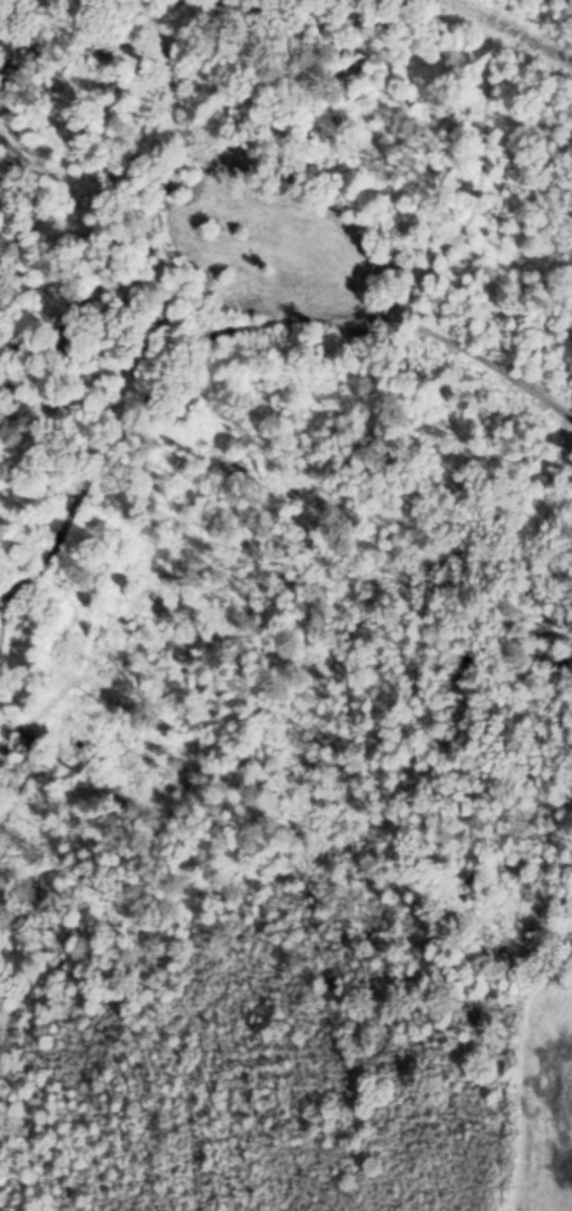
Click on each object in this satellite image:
railway: (511, 30)

